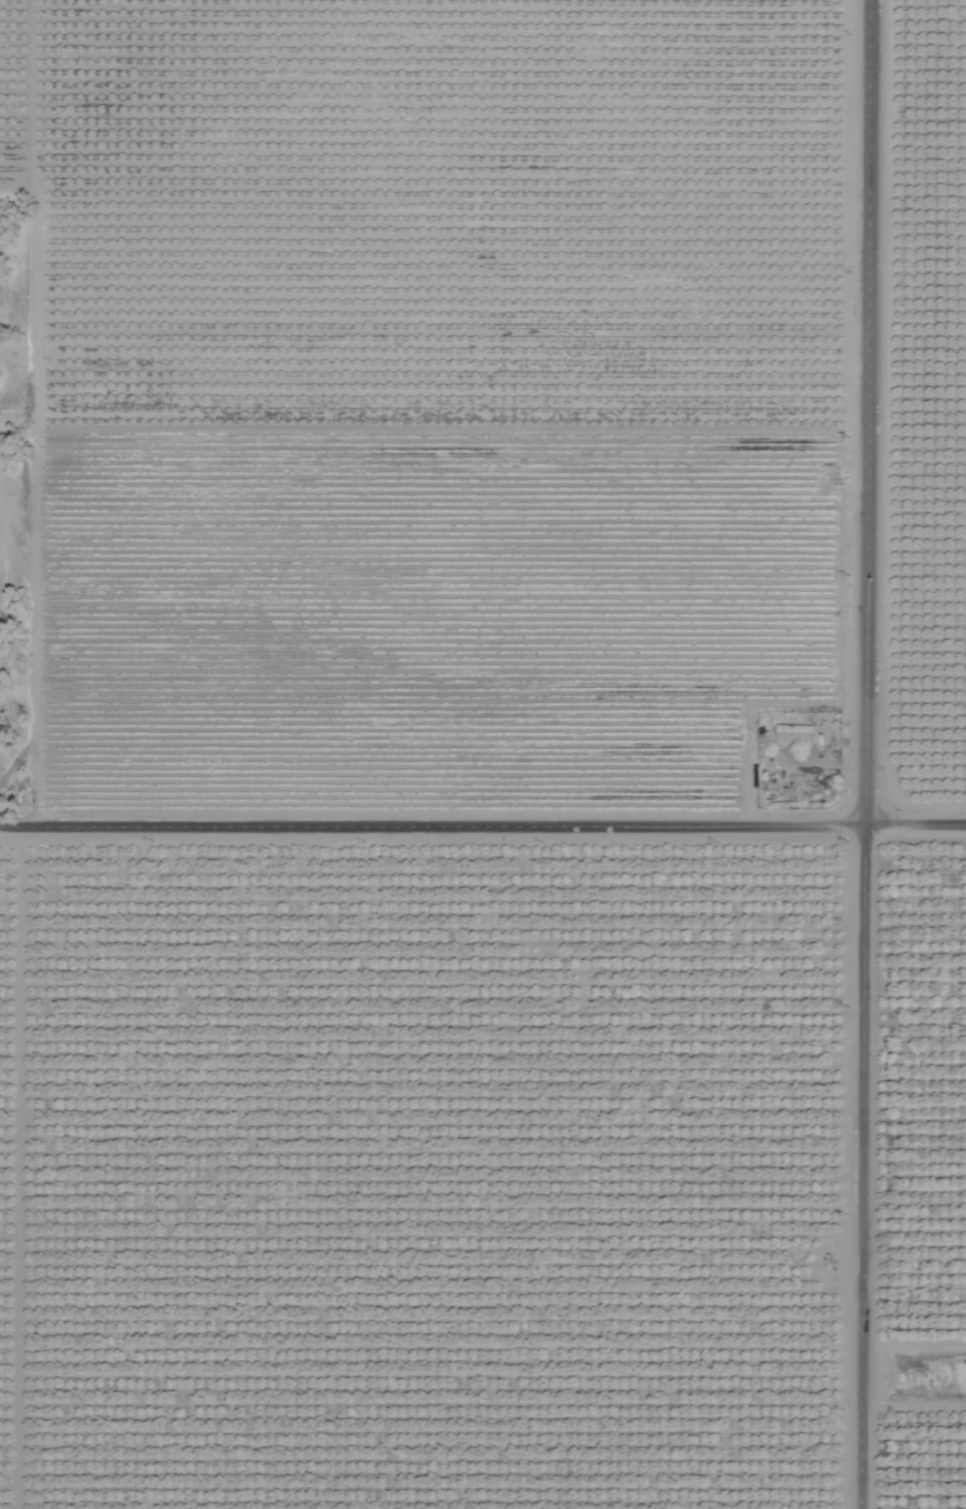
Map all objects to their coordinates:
road: (873, 412)
road: (35, 416)
building: (797, 728)
crop: (483, 754)
road: (918, 824)
road: (435, 828)
road: (867, 1166)

